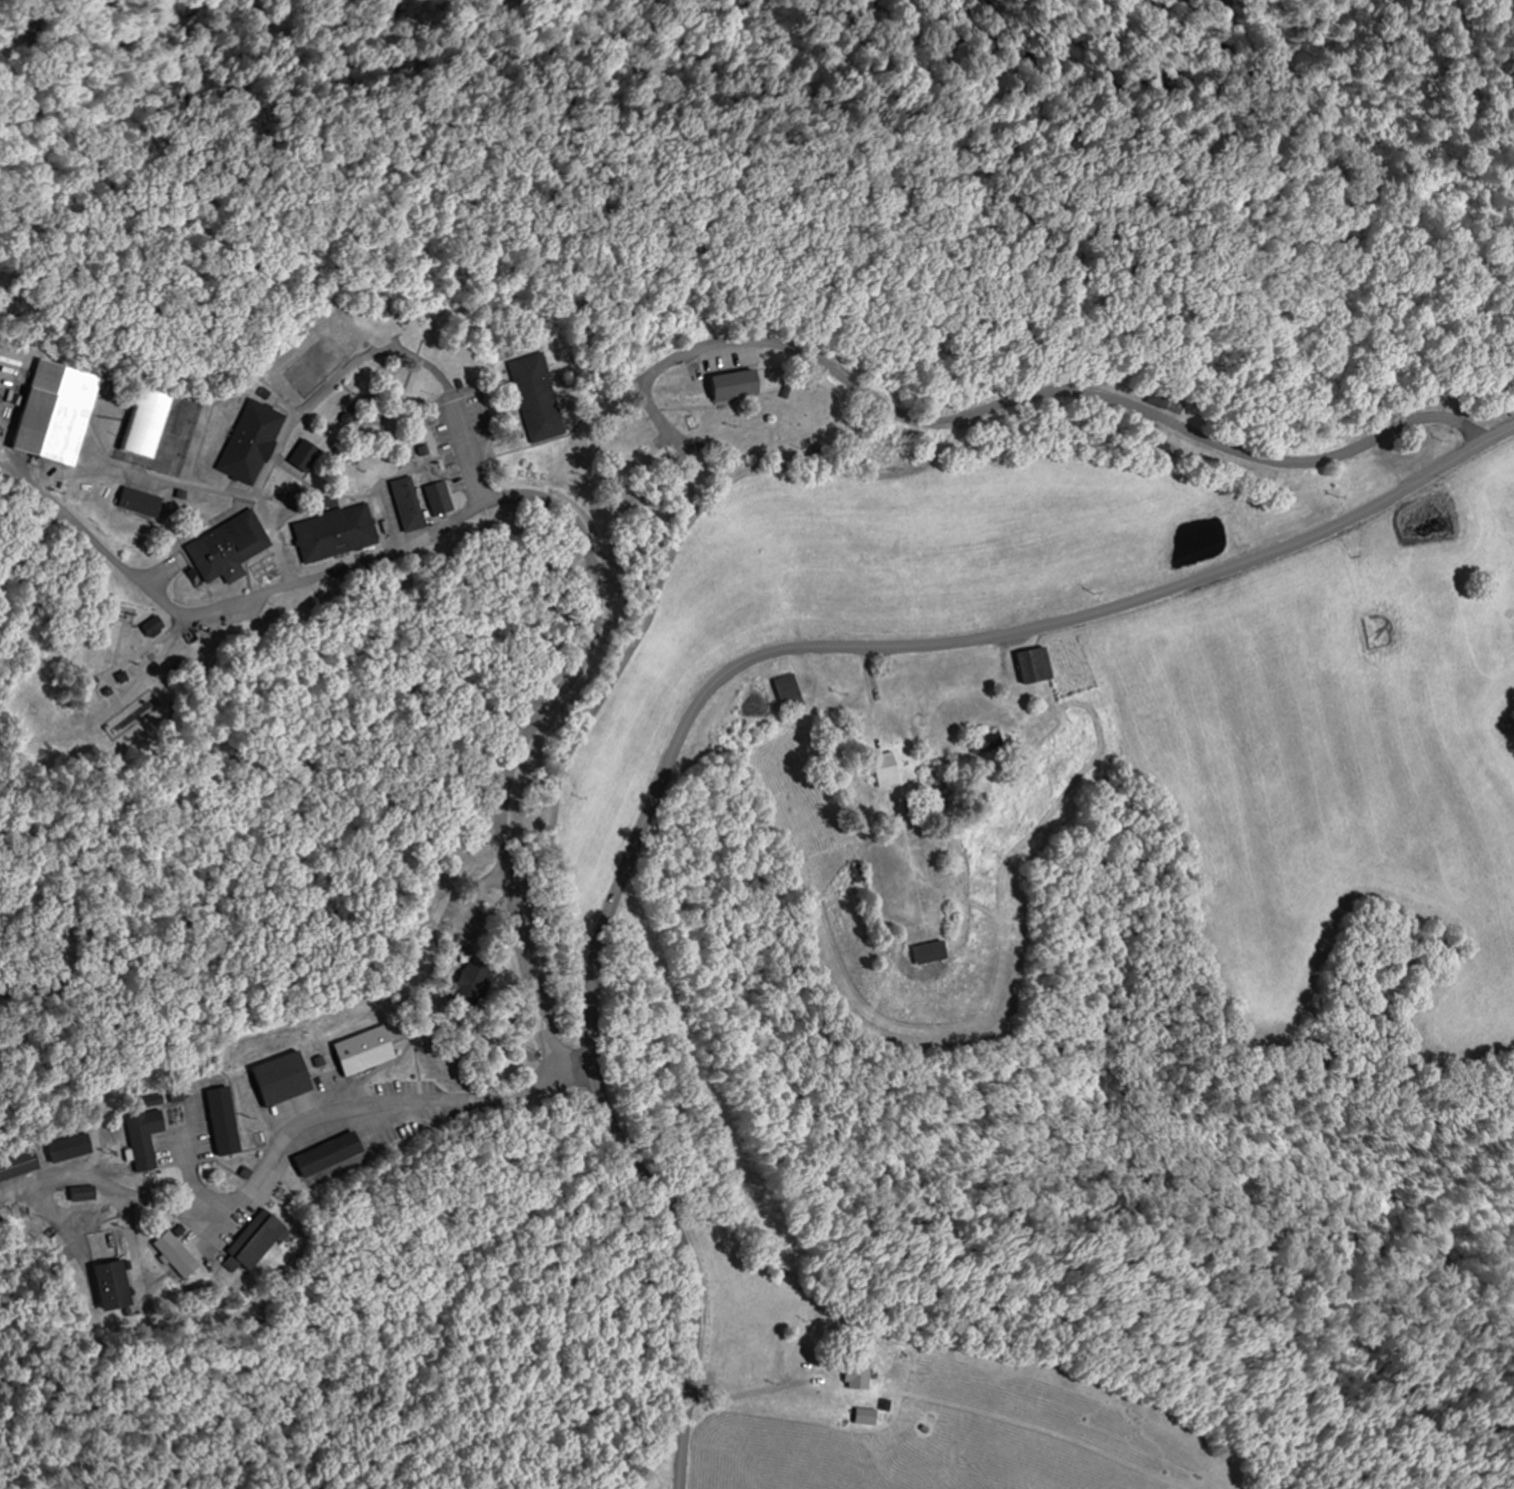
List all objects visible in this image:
road: (802, 350)
building: (316, 360)
building: (733, 386)
building: (537, 397)
building: (55, 412)
building: (145, 424)
building: (249, 440)
road: (469, 453)
road: (4, 456)
building: (304, 456)
building: (439, 499)
building: (140, 503)
building: (407, 505)
road: (559, 509)
building: (332, 533)
building: (225, 545)
building: (154, 628)
building: (1035, 666)
road: (715, 687)
building: (791, 691)
building: (887, 770)
building: (930, 954)
building: (364, 1052)
building: (282, 1080)
building: (151, 1102)
road: (353, 1109)
building: (224, 1123)
building: (144, 1140)
building: (70, 1149)
building: (330, 1160)
building: (18, 1167)
building: (84, 1195)
building: (259, 1245)
building: (177, 1255)
building: (113, 1288)
building: (855, 1373)
road: (755, 1391)
building: (866, 1418)
crop: (954, 1437)

